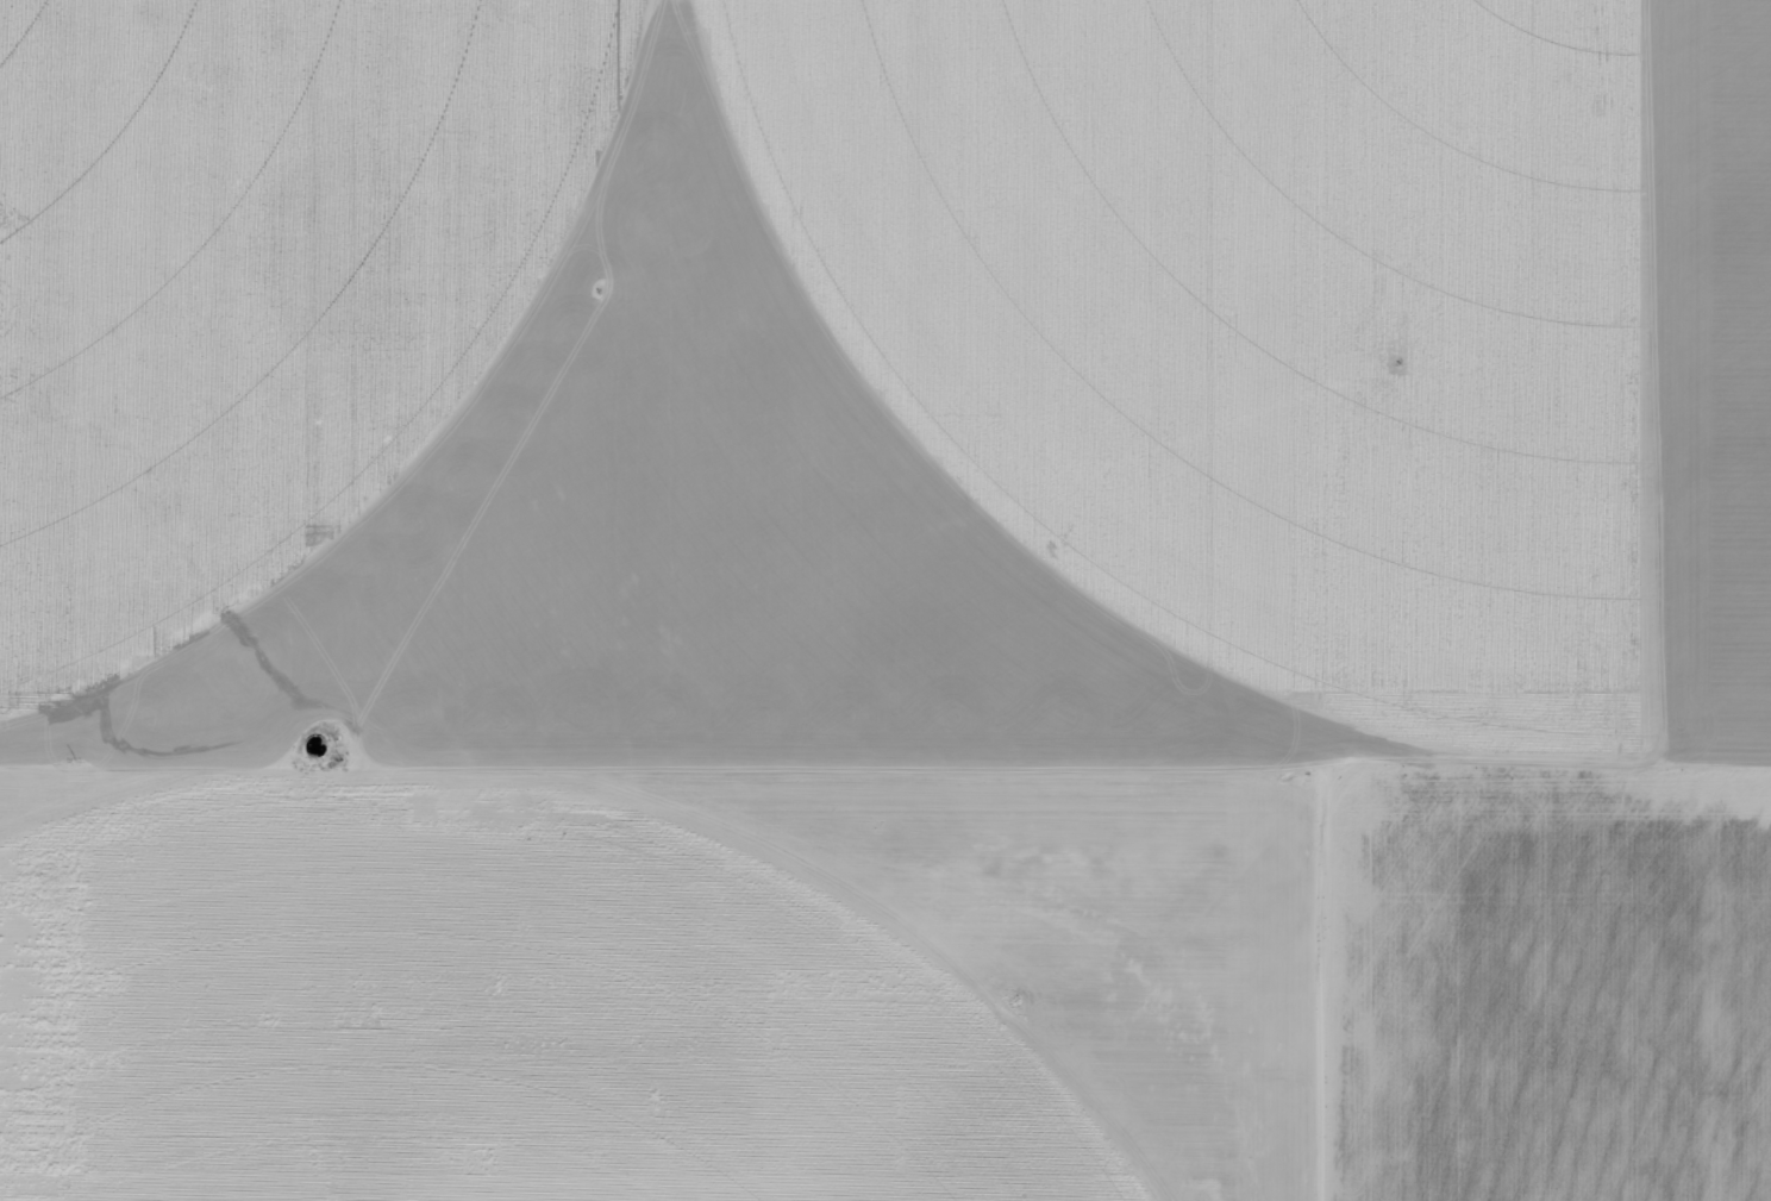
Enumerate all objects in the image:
road: (1333, 742)

